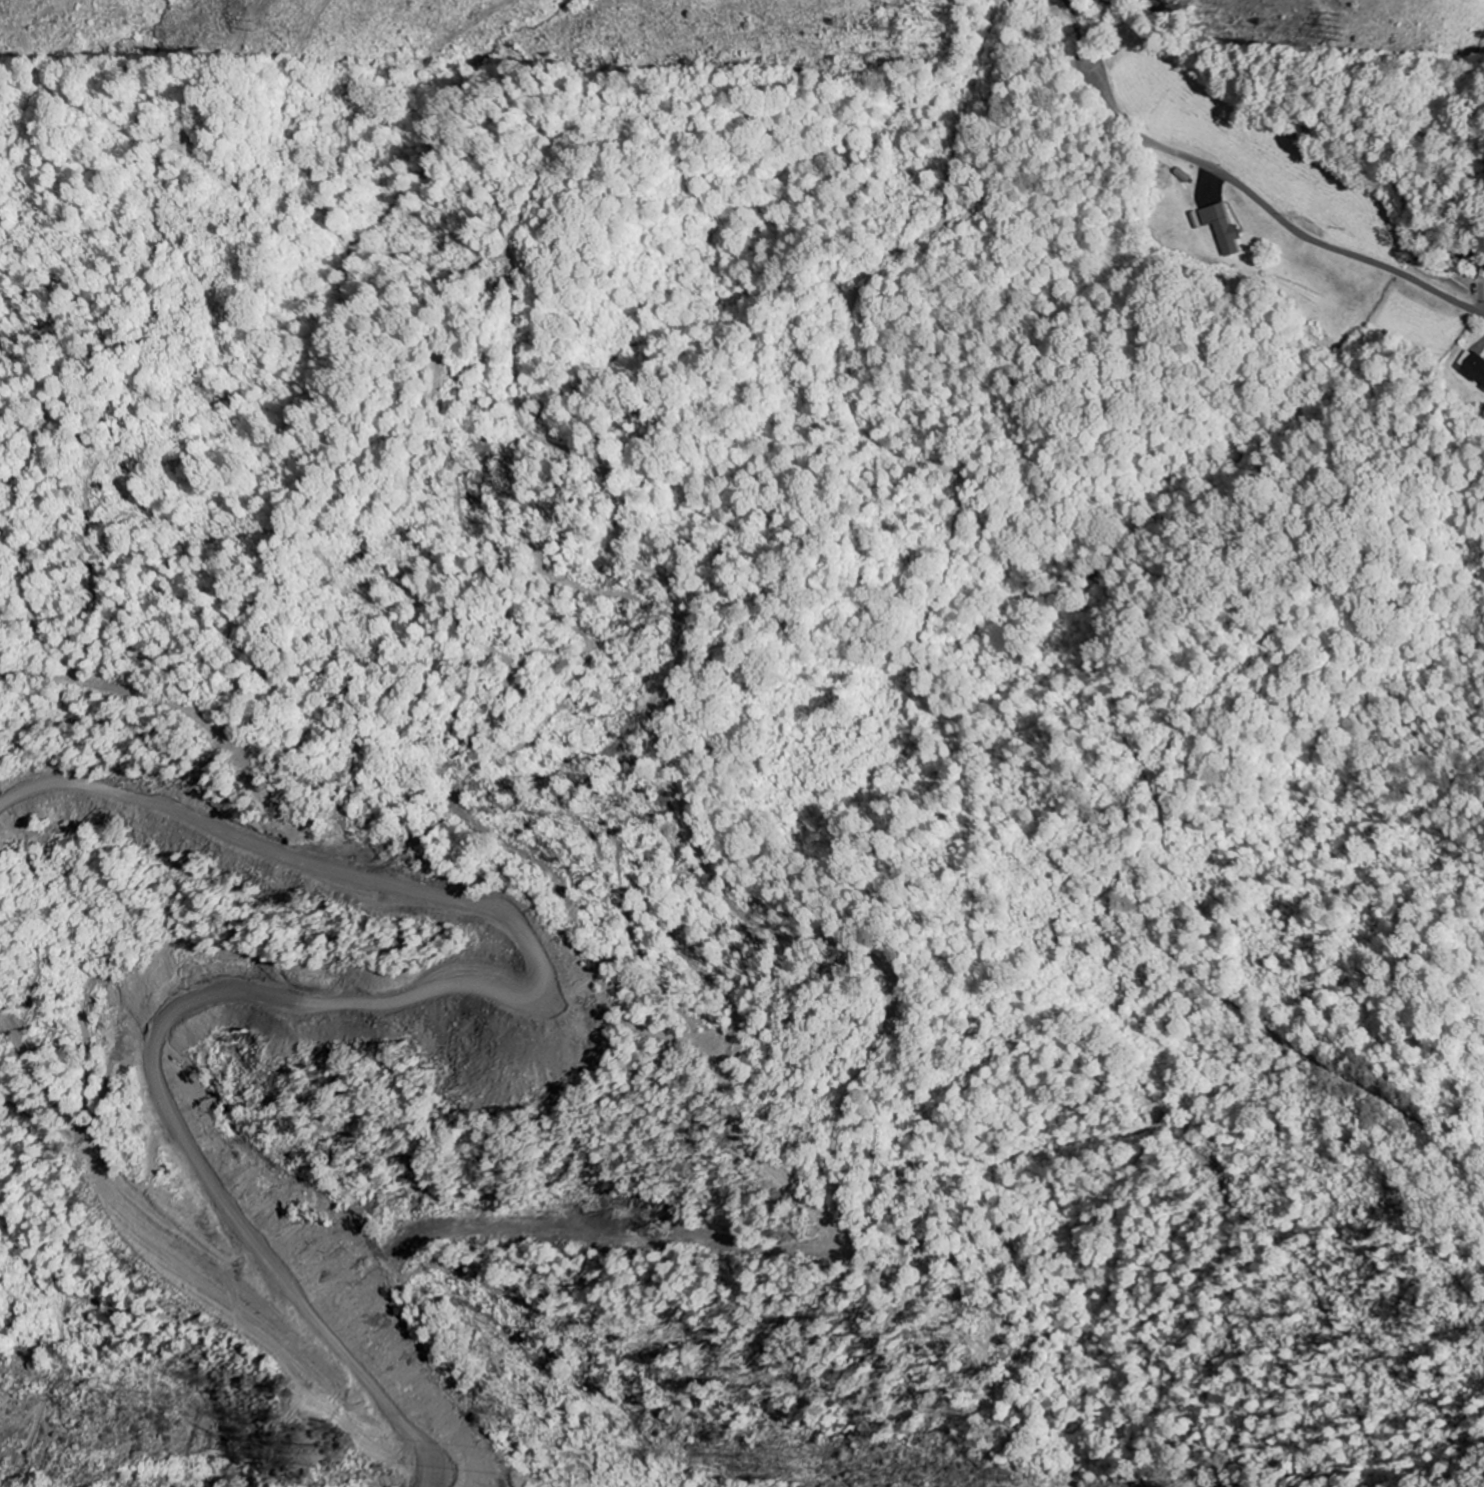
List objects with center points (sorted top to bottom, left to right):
road: (1289, 226)
building: (1221, 228)
building: (1473, 366)
power tower: (282, 1445)

